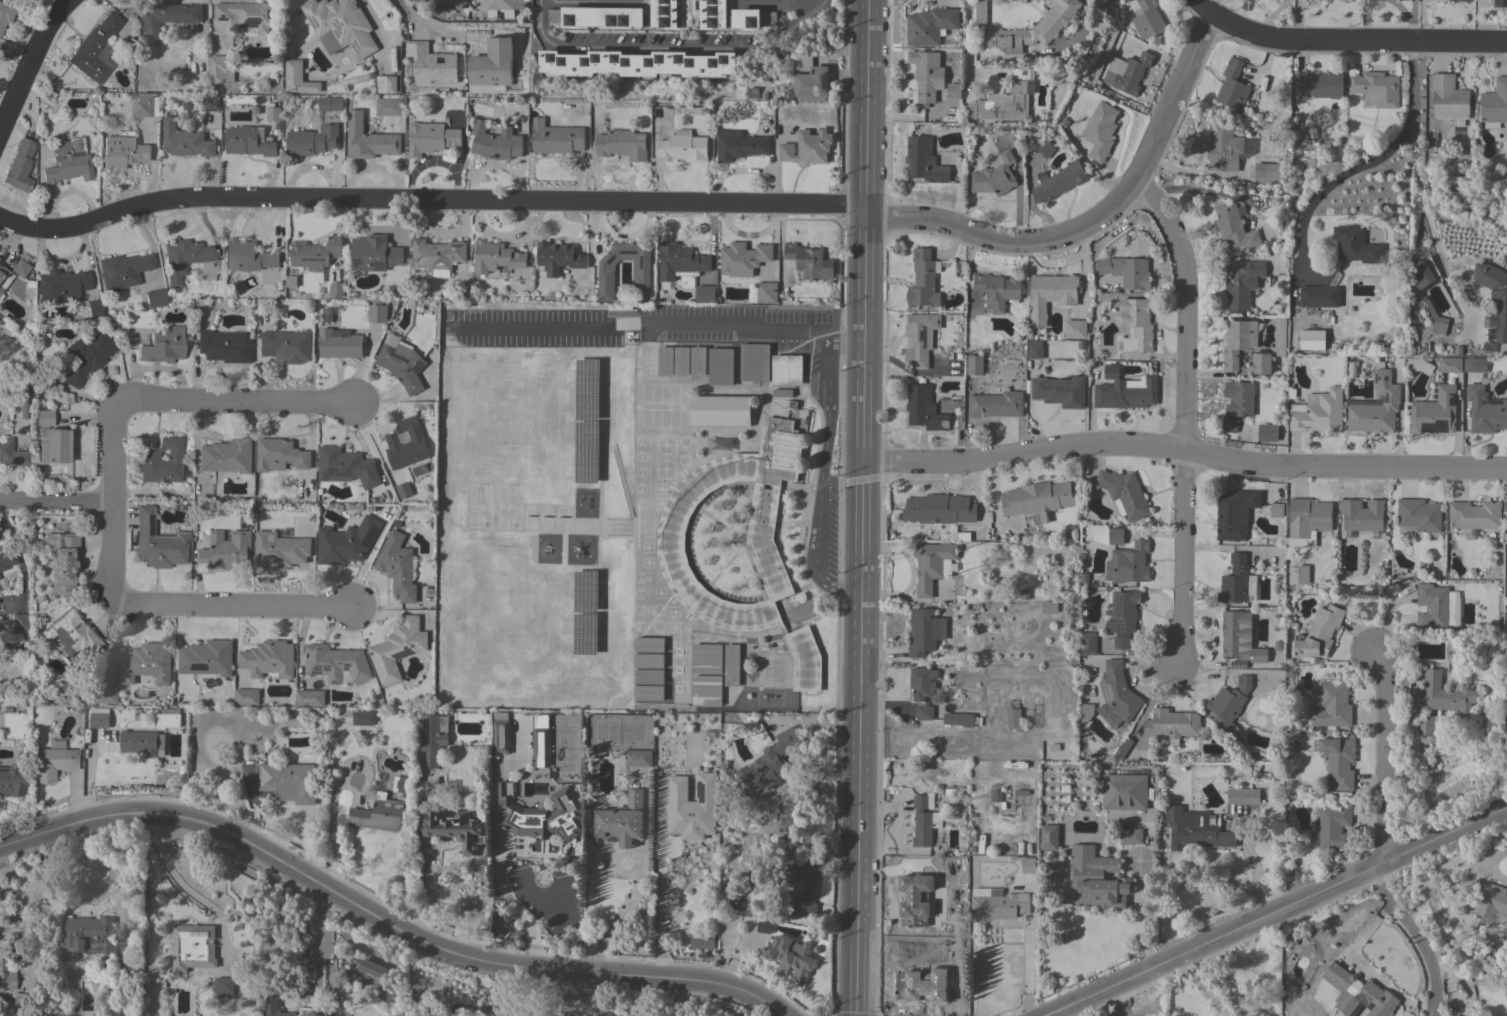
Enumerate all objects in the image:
building: (1127, 0)
building: (1458, 0)
road: (784, 3)
building: (1500, 3)
building: (450, 4)
building: (499, 7)
building: (5, 14)
building: (663, 14)
building: (712, 14)
building: (246, 15)
building: (167, 17)
building: (597, 17)
building: (751, 18)
building: (1148, 20)
road: (424, 21)
building: (340, 26)
building: (931, 26)
building: (1047, 27)
road: (1346, 38)
road: (969, 44)
road: (667, 47)
building: (94, 49)
road: (30, 62)
building: (492, 63)
building: (637, 63)
building: (431, 64)
building: (220, 68)
building: (1131, 73)
building: (927, 74)
building: (297, 78)
building: (810, 80)
building: (1321, 83)
building: (386, 84)
building: (1233, 86)
building: (1376, 89)
building: (954, 91)
road: (1175, 96)
building: (1010, 98)
building: (1449, 99)
building: (211, 103)
building: (330, 103)
building: (1494, 104)
building: (144, 106)
building: (389, 106)
building: (273, 113)
building: (1100, 130)
building: (431, 138)
building: (556, 138)
building: (368, 139)
building: (185, 140)
building: (312, 140)
building: (248, 141)
building: (496, 142)
building: (622, 144)
building: (740, 145)
building: (683, 146)
building: (1248, 146)
building: (808, 147)
building: (1223, 148)
building: (1046, 149)
building: (123, 152)
building: (924, 160)
road: (1368, 161)
building: (69, 164)
building: (19, 167)
building: (1268, 173)
building: (994, 176)
building: (1058, 181)
road: (581, 203)
road: (1427, 218)
building: (1234, 226)
building: (1356, 245)
building: (315, 253)
building: (374, 253)
building: (250, 256)
building: (437, 256)
building: (560, 256)
building: (496, 257)
building: (184, 258)
building: (744, 258)
building: (680, 261)
building: (810, 261)
building: (19, 268)
building: (122, 270)
building: (2, 271)
building: (641, 271)
building: (1126, 271)
building: (923, 280)
building: (1242, 283)
building: (61, 286)
building: (336, 289)
building: (1, 290)
building: (998, 290)
building: (767, 292)
building: (705, 293)
building: (1495, 293)
building: (1049, 295)
building: (1319, 296)
building: (154, 298)
building: (94, 309)
building: (377, 313)
building: (1437, 320)
building: (1135, 324)
road: (740, 325)
building: (1075, 329)
building: (921, 338)
building: (1312, 339)
building: (1238, 342)
building: (339, 343)
building: (285, 345)
building: (163, 346)
building: (223, 347)
building: (1036, 352)
building: (86, 357)
building: (665, 361)
building: (681, 361)
building: (698, 361)
building: (401, 362)
building: (754, 362)
building: (1261, 362)
building: (1451, 364)
building: (975, 365)
building: (1472, 365)
building: (721, 366)
building: (787, 369)
building: (1352, 369)
building: (1111, 370)
building: (1059, 391)
building: (783, 392)
building: (1127, 393)
building: (1240, 397)
building: (5, 399)
road: (237, 402)
building: (21, 404)
building: (996, 404)
building: (1376, 406)
building: (924, 408)
building: (720, 410)
building: (1318, 411)
building: (1435, 411)
building: (1485, 411)
road: (1187, 415)
building: (1230, 424)
building: (1268, 432)
building: (51, 439)
building: (406, 443)
road: (1184, 451)
building: (12, 454)
building: (280, 455)
building: (226, 456)
building: (161, 462)
road: (824, 463)
building: (345, 466)
building: (404, 490)
building: (1124, 492)
building: (1038, 499)
road: (57, 501)
road: (114, 505)
building: (1506, 505)
road: (862, 507)
building: (940, 509)
building: (1276, 509)
building: (1235, 513)
building: (1362, 514)
building: (1419, 514)
building: (1475, 514)
building: (1306, 523)
building: (1116, 536)
building: (158, 542)
building: (346, 542)
building: (279, 550)
building: (226, 551)
building: (7, 559)
building: (672, 559)
building: (1130, 563)
building: (934, 565)
building: (61, 566)
building: (397, 566)
building: (1235, 580)
building: (1506, 581)
building: (1437, 607)
road: (235, 608)
building: (802, 611)
building: (1123, 617)
building: (19, 622)
building: (925, 631)
building: (72, 633)
building: (1319, 633)
building: (1238, 639)
building: (1088, 643)
building: (397, 648)
building: (207, 658)
building: (269, 659)
building: (707, 659)
building: (145, 663)
building: (336, 663)
building: (731, 665)
building: (706, 690)
building: (922, 690)
building: (1118, 692)
building: (105, 694)
building: (1441, 696)
building: (247, 697)
building: (310, 698)
building: (1229, 704)
building: (1332, 705)
building: (1087, 710)
building: (135, 713)
building: (99, 717)
building: (168, 718)
building: (363, 718)
building: (1014, 718)
building: (961, 719)
building: (1172, 723)
building: (1428, 725)
building: (502, 736)
building: (434, 738)
building: (142, 742)
building: (540, 748)
building: (1123, 748)
building: (638, 758)
building: (1339, 761)
building: (53, 763)
building: (768, 763)
building: (288, 781)
building: (10, 783)
building: (403, 784)
building: (1124, 791)
building: (1243, 796)
building: (997, 797)
building: (687, 813)
building: (540, 814)
building: (379, 815)
building: (924, 819)
building: (621, 821)
building: (1334, 826)
building: (456, 829)
building: (1195, 829)
road: (1383, 835)
building: (1049, 837)
building: (1131, 837)
building: (1028, 865)
road: (1496, 866)
road: (497, 872)
road: (1254, 878)
road: (643, 879)
building: (1097, 879)
road: (178, 881)
building: (802, 886)
building: (1493, 903)
building: (466, 905)
building: (999, 906)
road: (1145, 911)
road: (1275, 911)
road: (385, 920)
building: (922, 920)
building: (765, 927)
building: (1294, 938)
road: (321, 940)
building: (701, 940)
building: (103, 946)
building: (193, 947)
road: (1030, 955)
building: (792, 956)
building: (371, 968)
building: (5, 977)
building: (224, 986)
road: (496, 989)
building: (1358, 994)
building: (19, 997)
building: (121, 1006)
building: (274, 1007)
road: (1065, 1012)

